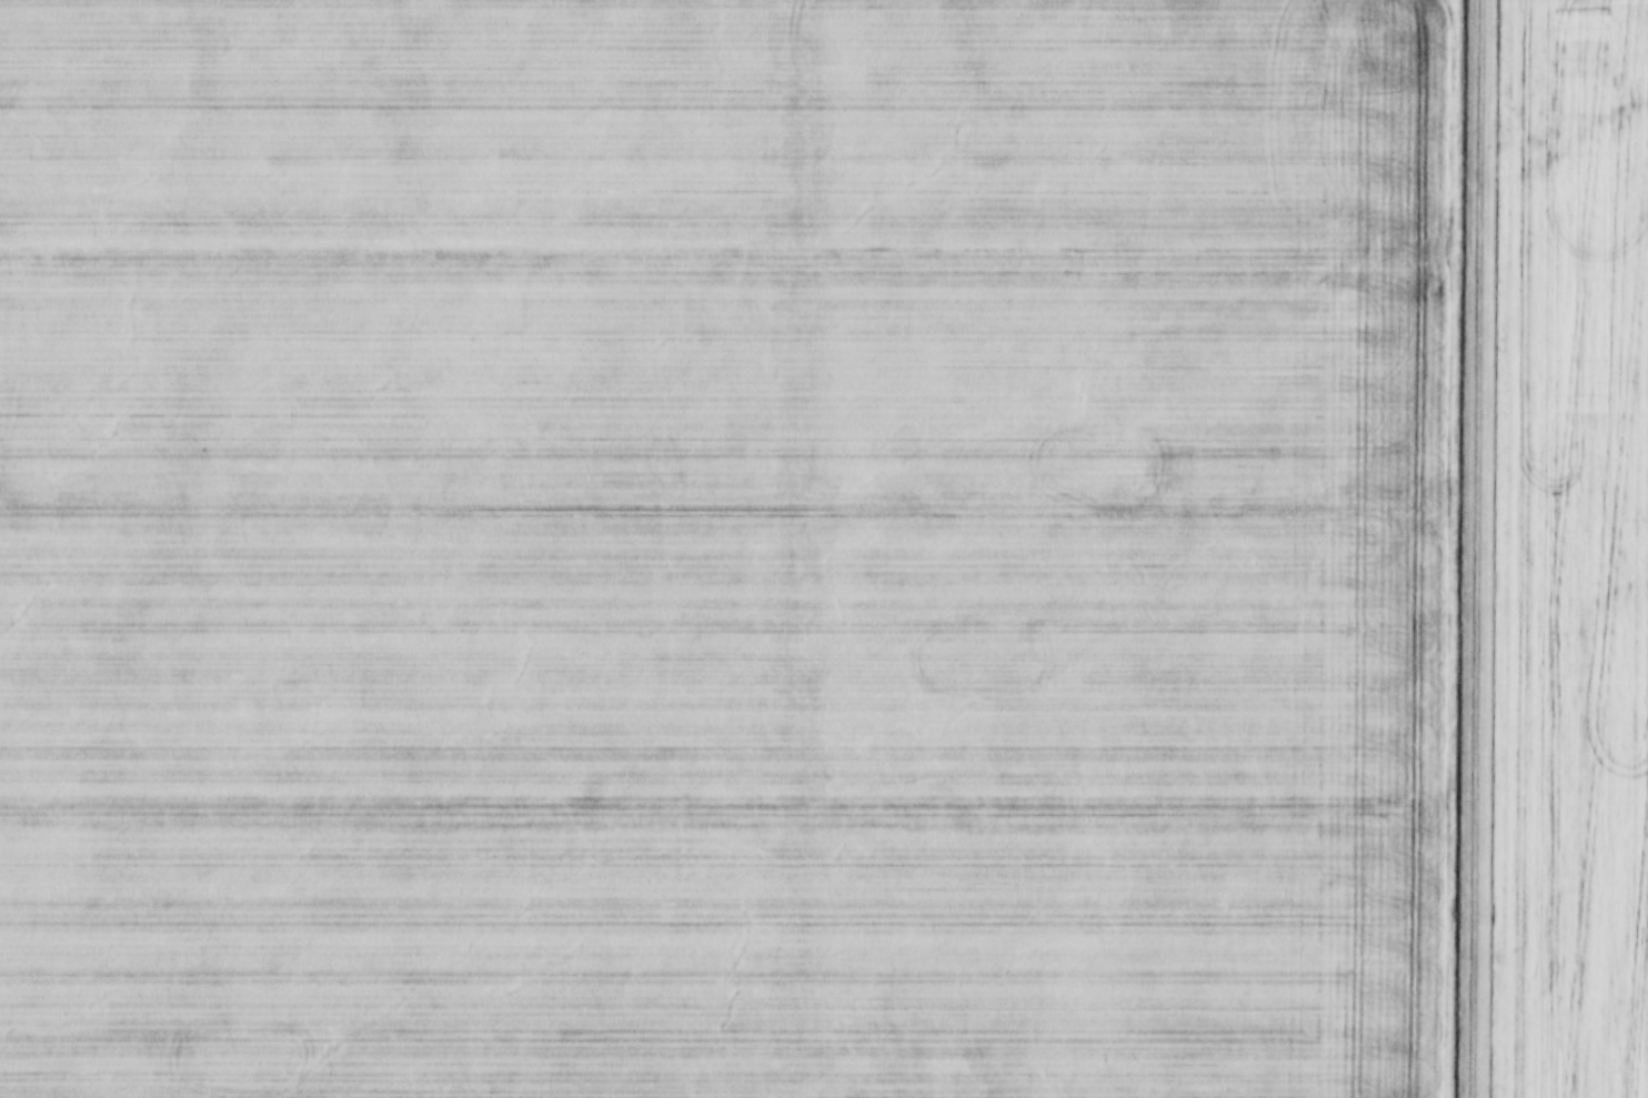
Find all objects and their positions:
road: (1469, 548)

